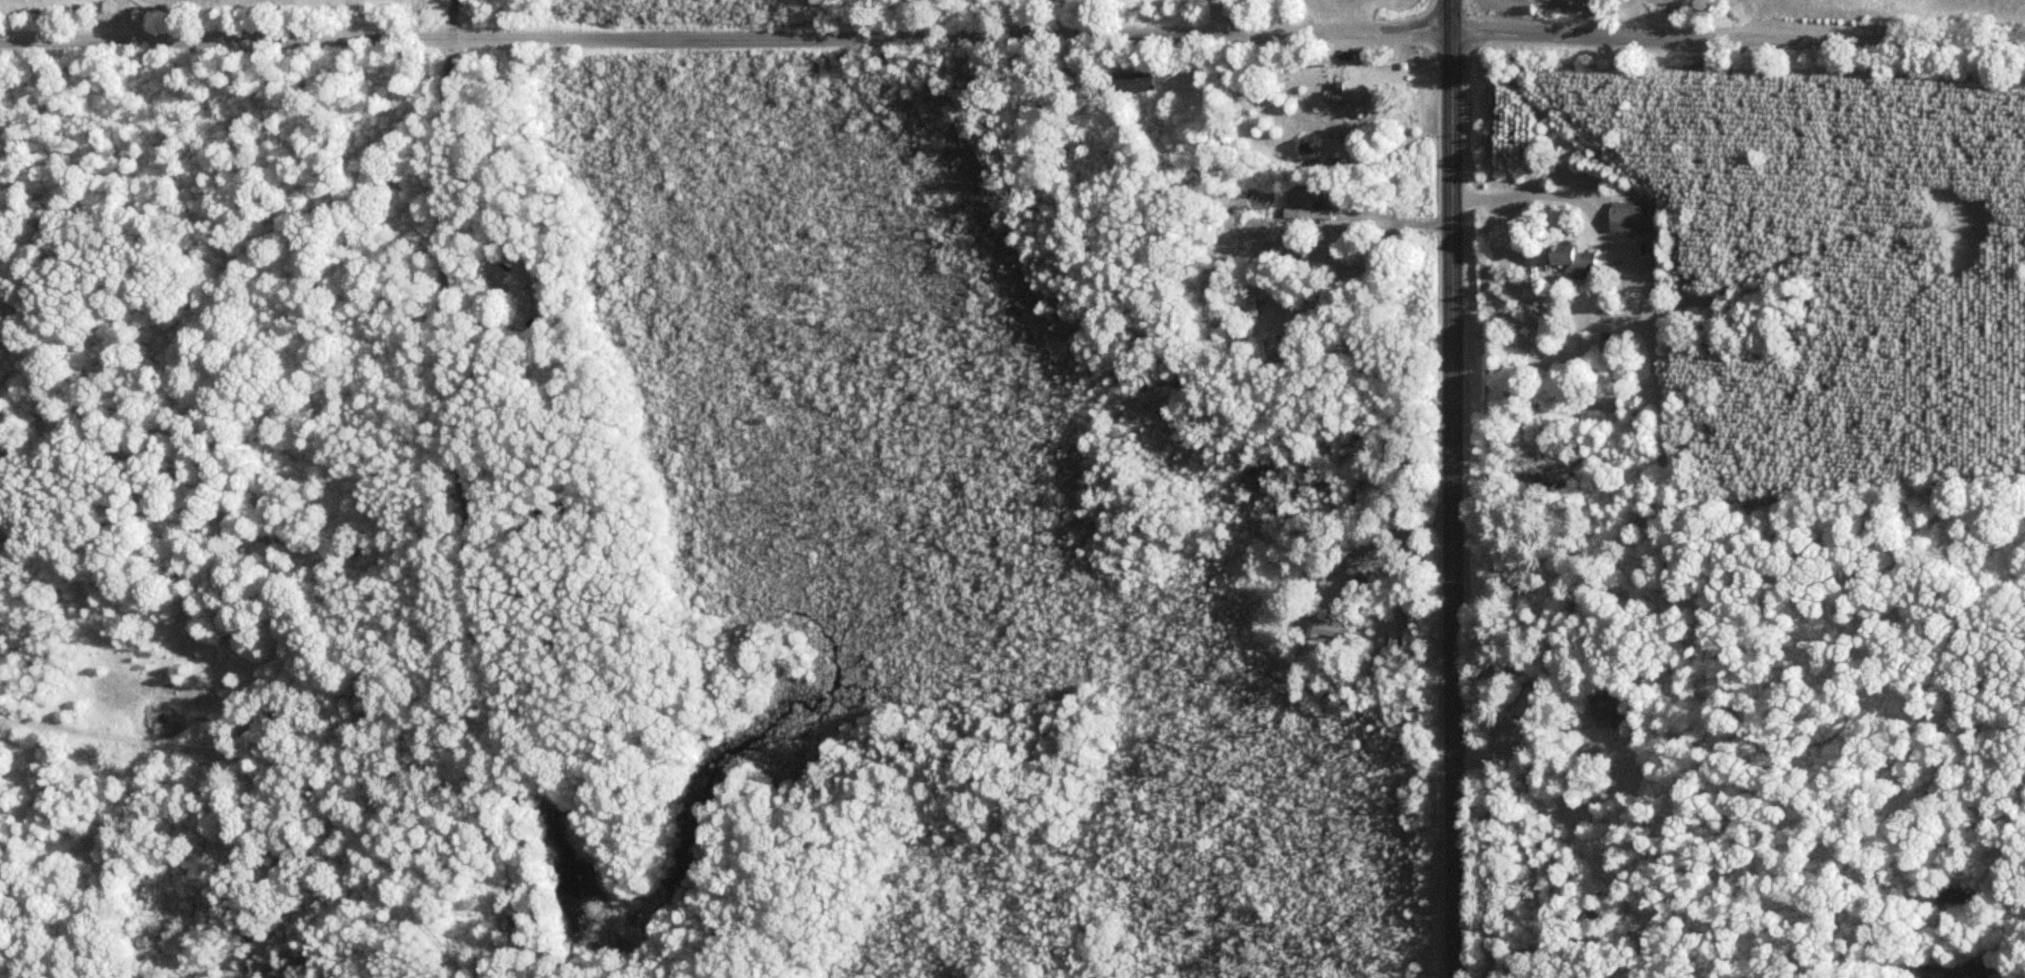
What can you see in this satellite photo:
road: (1450, 14)
road: (126, 19)
road: (1547, 32)
road: (686, 37)
road: (1873, 40)
building: (1131, 82)
building: (1345, 96)
building: (1630, 216)
building: (1572, 258)
building: (541, 289)
building: (1278, 349)
road: (464, 491)
road: (1455, 502)
road: (1376, 543)
building: (1360, 581)
building: (1332, 631)
building: (1606, 705)

